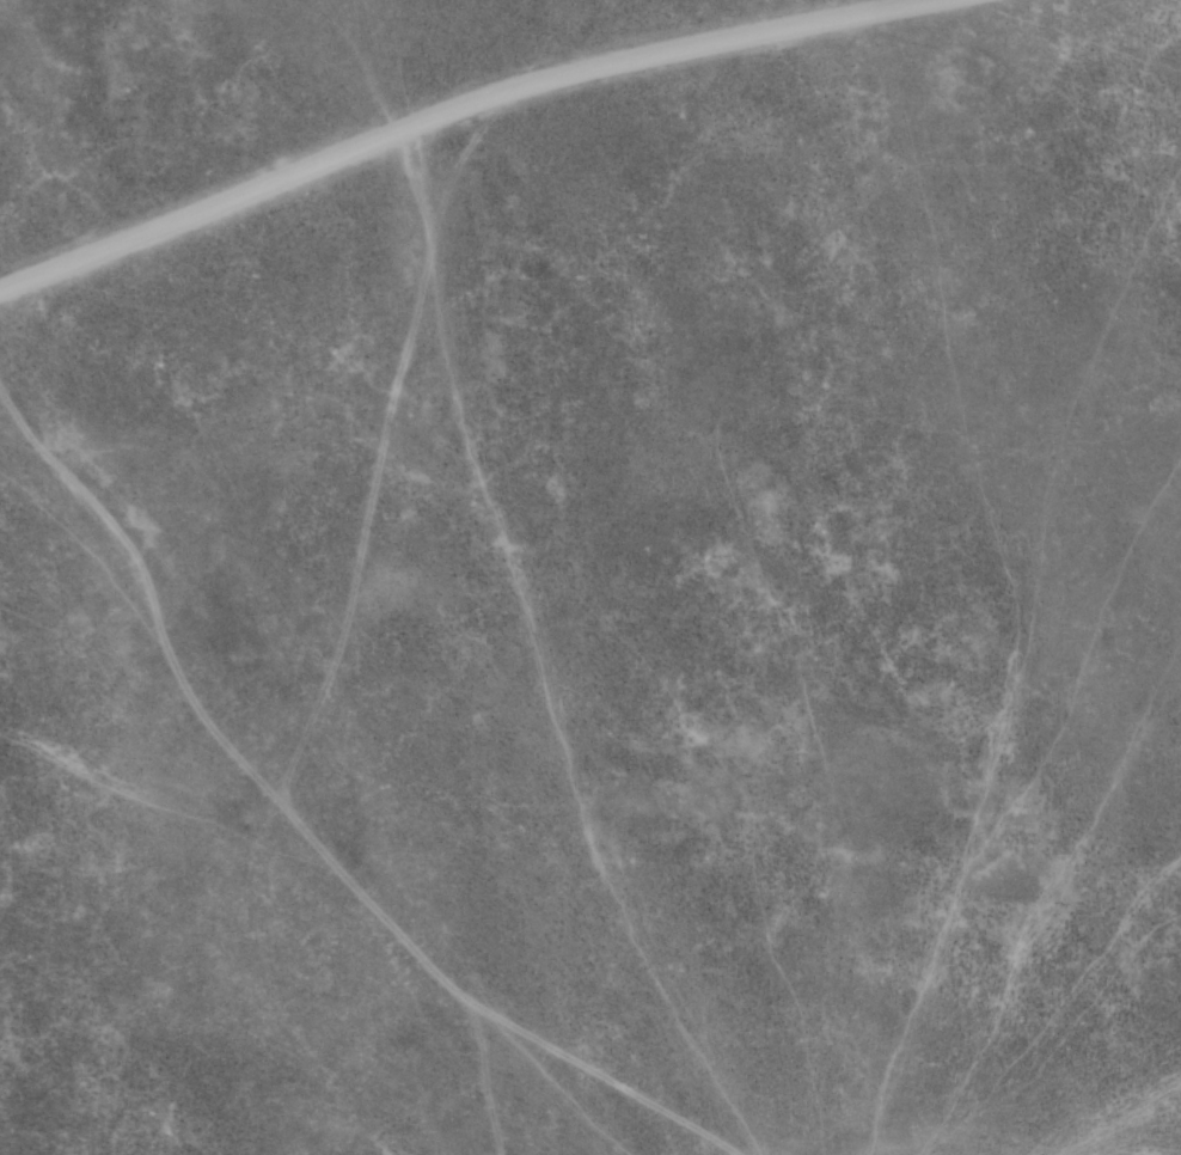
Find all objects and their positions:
road: (454, 112)

